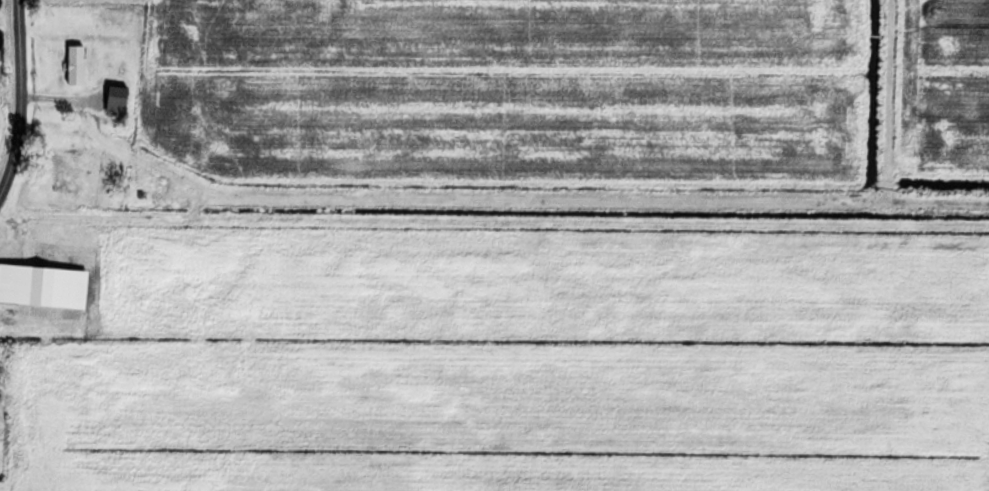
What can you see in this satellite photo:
building: (75, 64)
road: (18, 73)
road: (501, 123)
road: (8, 169)
building: (43, 285)

